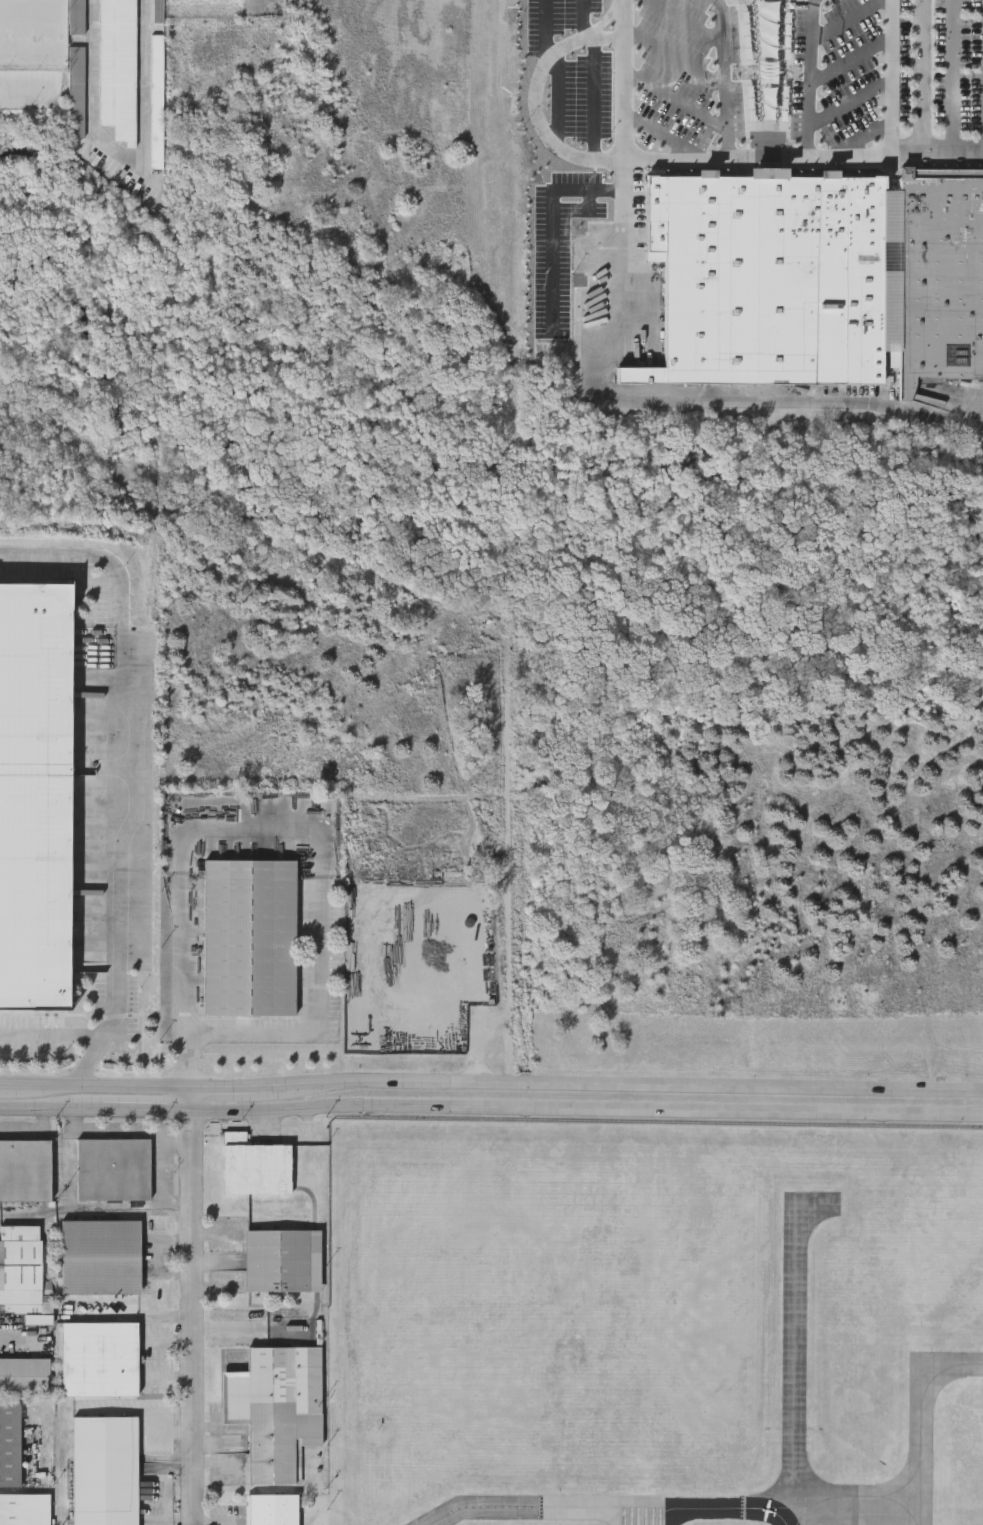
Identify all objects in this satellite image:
building: (158, 11)
building: (77, 16)
road: (848, 20)
road: (583, 21)
road: (682, 21)
road: (603, 23)
road: (545, 32)
building: (158, 55)
road: (673, 58)
road: (849, 61)
building: (118, 67)
road: (921, 75)
road: (952, 75)
road: (889, 78)
road: (723, 79)
road: (809, 79)
road: (622, 80)
road: (26, 87)
building: (77, 90)
road: (532, 98)
road: (557, 99)
road: (592, 99)
road: (673, 101)
road: (848, 102)
road: (662, 137)
road: (857, 141)
road: (935, 150)
road: (127, 153)
road: (754, 160)
building: (112, 172)
road: (551, 229)
building: (940, 272)
building: (775, 276)
road: (573, 350)
road: (669, 395)
road: (115, 773)
building: (35, 793)
road: (286, 828)
road: (504, 904)
building: (250, 936)
road: (477, 977)
road: (48, 1034)
road: (509, 1049)
road: (625, 1085)
road: (96, 1087)
road: (231, 1088)
road: (97, 1106)
road: (588, 1111)
building: (256, 1164)
building: (110, 1167)
building: (26, 1168)
building: (100, 1255)
building: (278, 1258)
building: (20, 1262)
road: (194, 1306)
road: (133, 1316)
airport: (655, 1324)
road: (168, 1340)
building: (99, 1356)
building: (24, 1373)
road: (168, 1375)
building: (275, 1407)
road: (142, 1410)
building: (10, 1442)
building: (102, 1470)
building: (25, 1508)
building: (274, 1508)
airport apron: (828, 1509)
airport taxiway: (613, 1515)
airport runway: (645, 1515)

